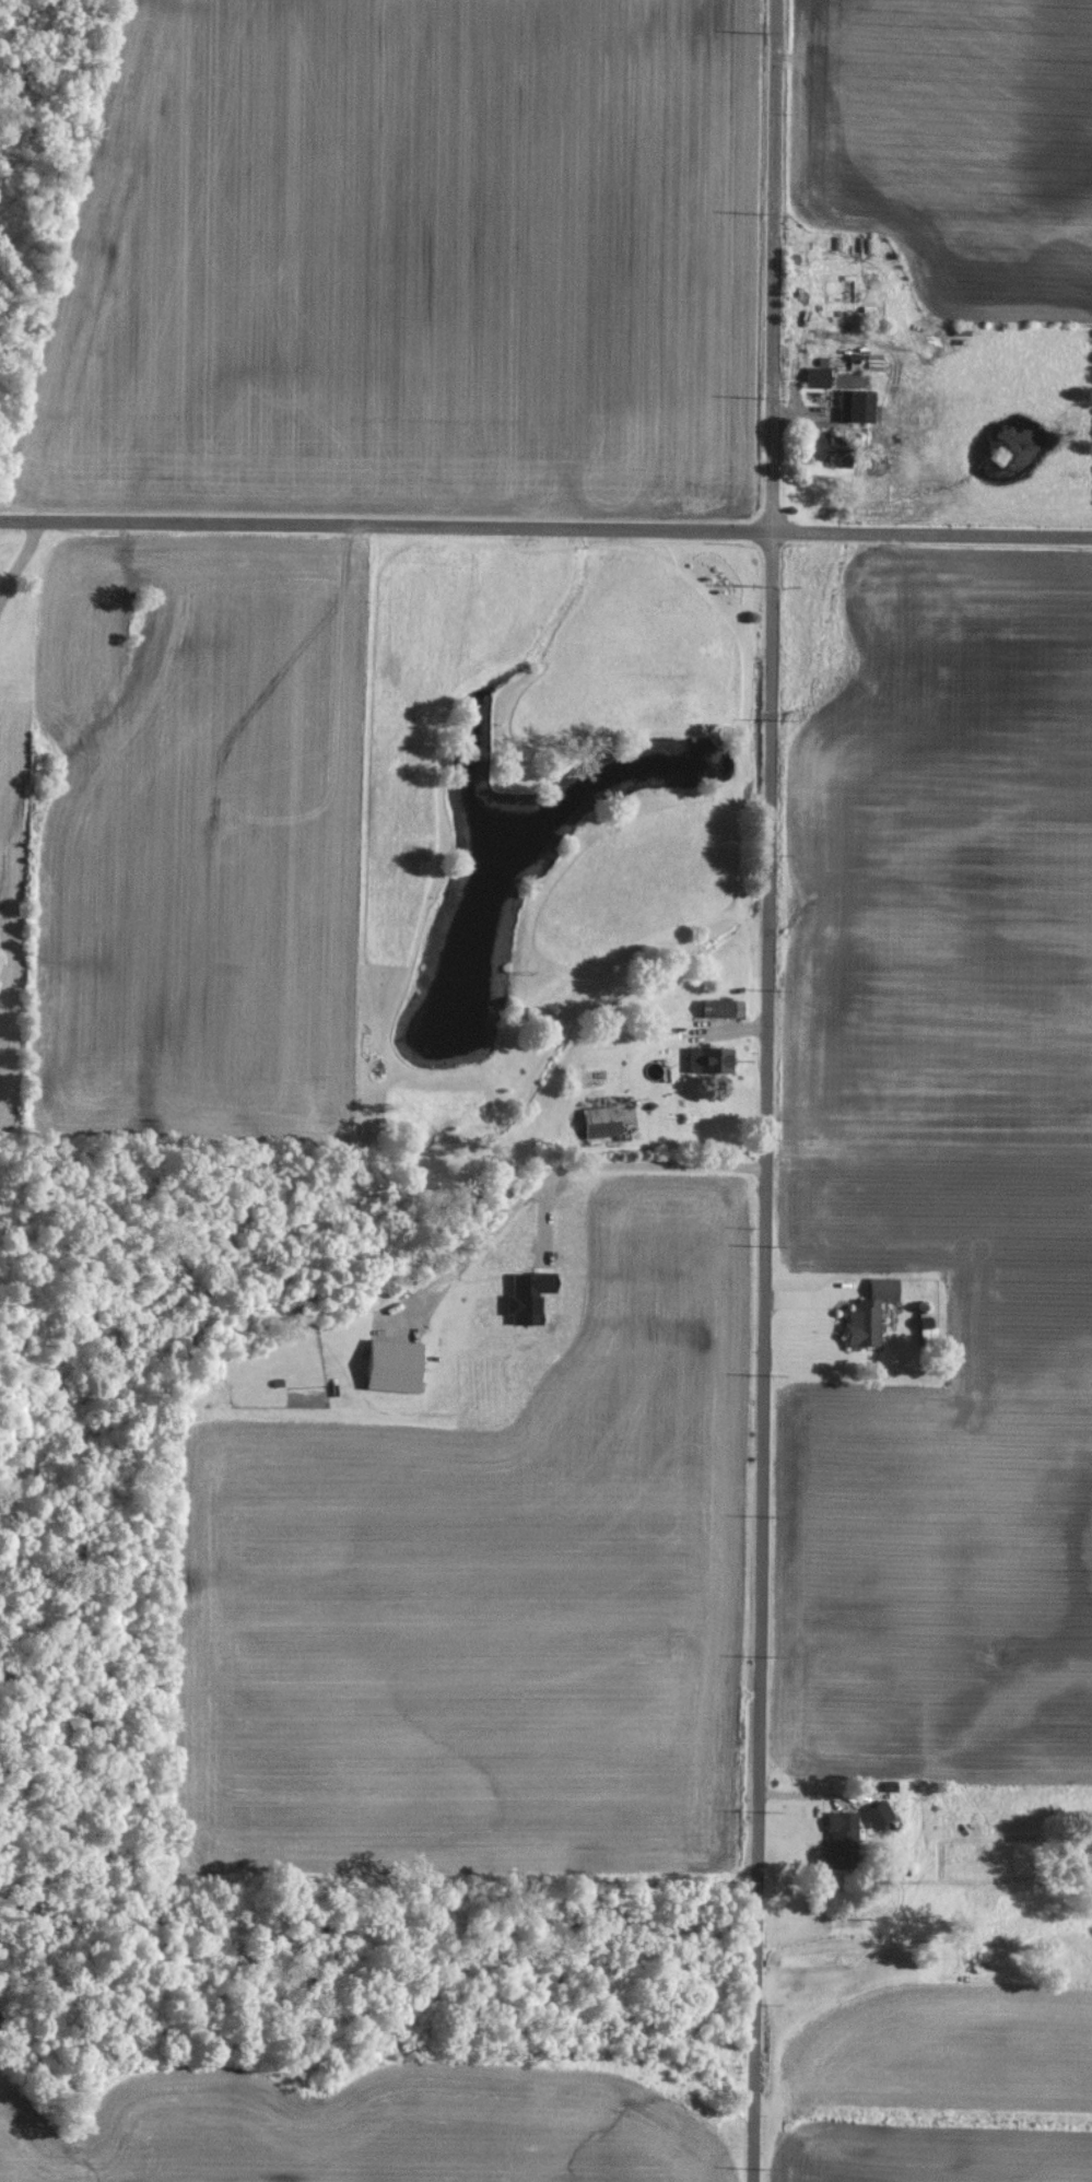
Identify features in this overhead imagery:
building: (813, 376)
building: (852, 406)
building: (819, 447)
road: (545, 529)
building: (723, 1007)
building: (705, 1057)
road: (764, 1091)
building: (598, 1121)
road: (614, 1163)
building: (521, 1301)
building: (865, 1311)
building: (874, 1813)
building: (835, 1838)

